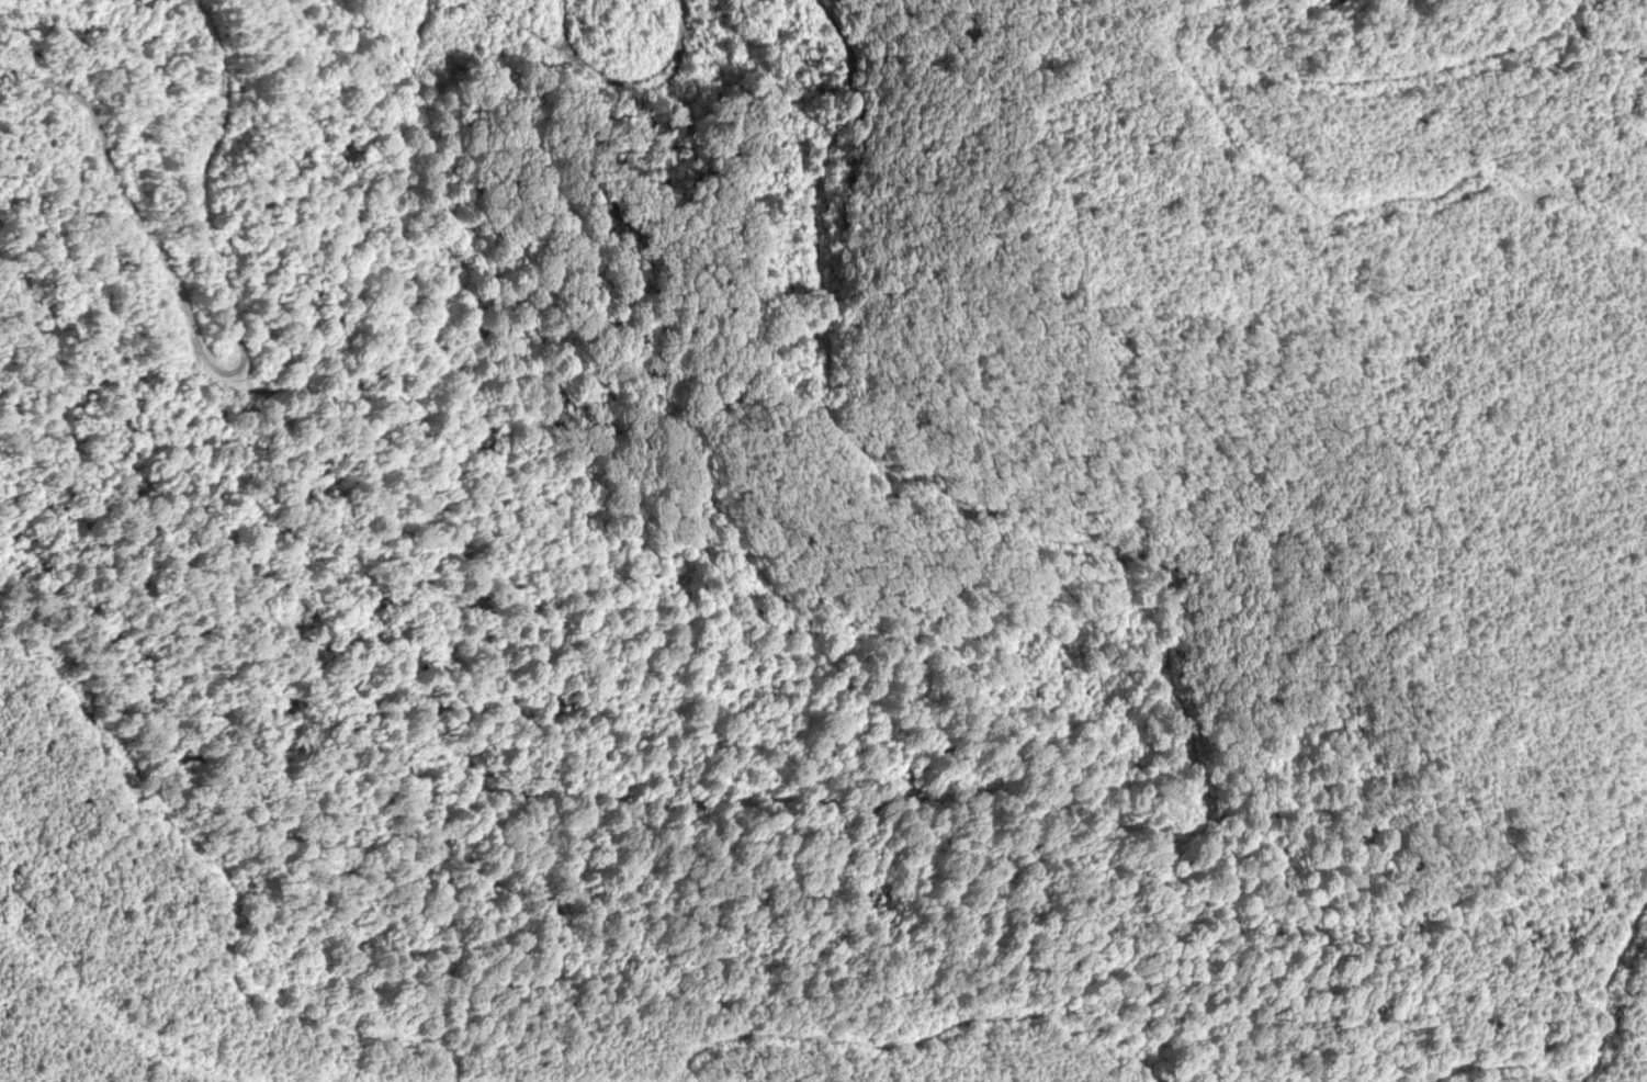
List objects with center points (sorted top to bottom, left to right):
road: (223, 372)

